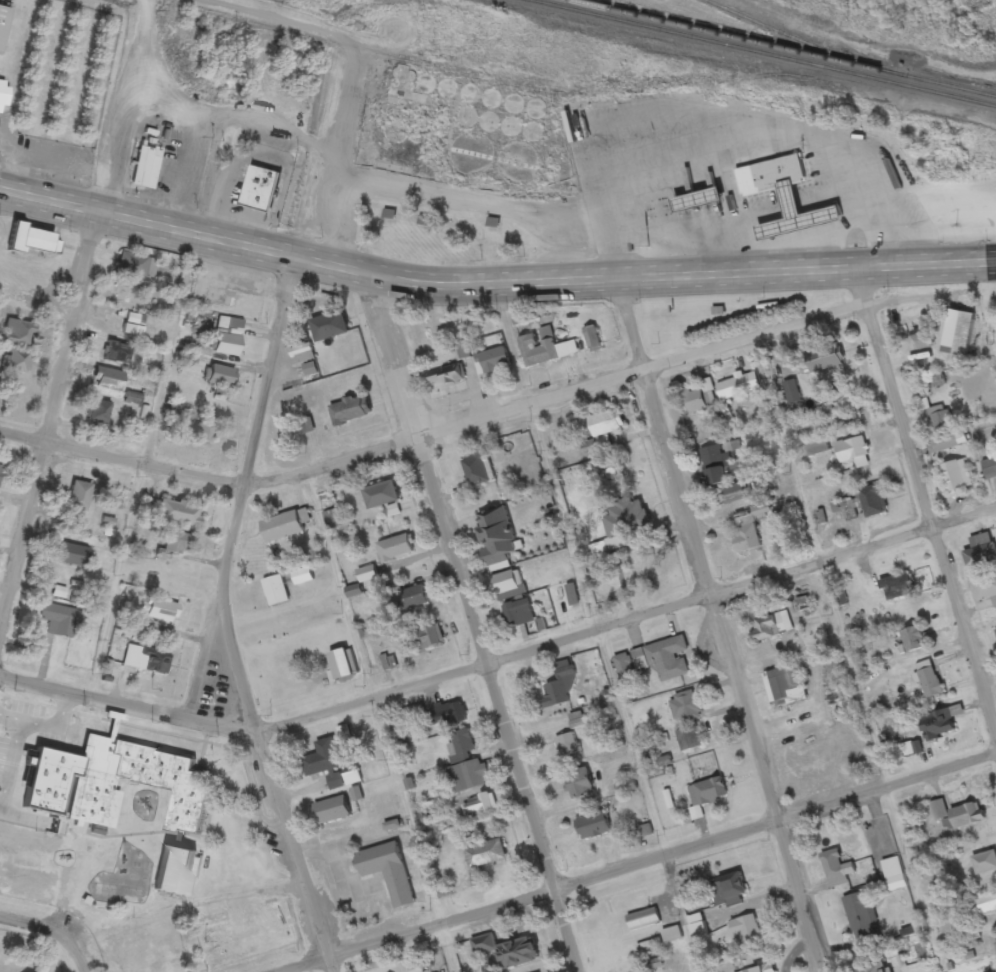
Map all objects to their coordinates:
building: (4, 22)
railway: (792, 37)
road: (372, 43)
railway: (776, 50)
railway: (759, 54)
building: (428, 86)
silo: (428, 86)
building: (5, 90)
building: (451, 91)
silo: (451, 91)
railway: (634, 95)
building: (473, 97)
silo: (473, 97)
building: (493, 102)
silo: (493, 102)
building: (514, 106)
silo: (514, 106)
building: (537, 111)
silo: (537, 111)
building: (467, 118)
silo: (467, 118)
building: (489, 124)
silo: (489, 124)
building: (510, 128)
silo: (510, 128)
building: (534, 134)
silo: (534, 134)
building: (415, 145)
building: (473, 157)
silo: (473, 157)
building: (522, 167)
silo: (522, 167)
building: (142, 169)
building: (777, 174)
building: (864, 184)
building: (260, 190)
building: (784, 229)
building: (32, 242)
building: (131, 265)
road: (493, 285)
building: (330, 328)
road: (76, 329)
building: (18, 335)
building: (919, 336)
building: (228, 340)
building: (593, 340)
building: (544, 349)
building: (117, 354)
building: (301, 354)
building: (17, 362)
building: (492, 362)
building: (220, 377)
building: (445, 378)
building: (108, 381)
building: (938, 382)
building: (740, 387)
building: (700, 399)
building: (132, 400)
building: (350, 412)
building: (98, 413)
building: (936, 418)
building: (845, 421)
building: (303, 429)
road: (437, 430)
building: (205, 433)
building: (816, 450)
building: (852, 451)
building: (717, 462)
building: (989, 470)
building: (476, 471)
building: (1, 474)
building: (955, 477)
building: (732, 496)
building: (381, 497)
road: (926, 497)
building: (79, 499)
building: (871, 504)
building: (845, 513)
building: (178, 516)
road: (689, 520)
building: (622, 527)
building: (109, 529)
building: (749, 530)
building: (396, 549)
building: (981, 556)
building: (71, 557)
building: (495, 559)
building: (302, 578)
building: (506, 584)
building: (897, 589)
building: (985, 591)
building: (276, 592)
building: (354, 593)
building: (415, 599)
building: (159, 611)
building: (518, 617)
road: (228, 619)
building: (58, 622)
road: (475, 625)
building: (772, 628)
building: (995, 632)
building: (430, 637)
building: (914, 641)
building: (664, 660)
road: (210, 661)
building: (146, 662)
road: (501, 663)
building: (929, 681)
building: (783, 685)
building: (559, 688)
building: (832, 700)
building: (685, 708)
building: (450, 715)
building: (578, 722)
building: (940, 725)
building: (691, 741)
building: (567, 747)
building: (463, 748)
building: (804, 760)
building: (330, 767)
building: (468, 778)
building: (579, 785)
building: (625, 788)
building: (707, 795)
building: (90, 807)
building: (479, 808)
building: (331, 812)
building: (959, 815)
building: (593, 828)
building: (645, 833)
building: (485, 855)
road: (646, 864)
building: (985, 864)
building: (834, 870)
building: (388, 873)
building: (894, 876)
building: (731, 891)
building: (987, 905)
building: (860, 916)
building: (643, 921)
building: (697, 928)
road: (50, 933)
building: (744, 933)
building: (995, 945)
building: (507, 953)
building: (876, 968)
building: (766, 970)

